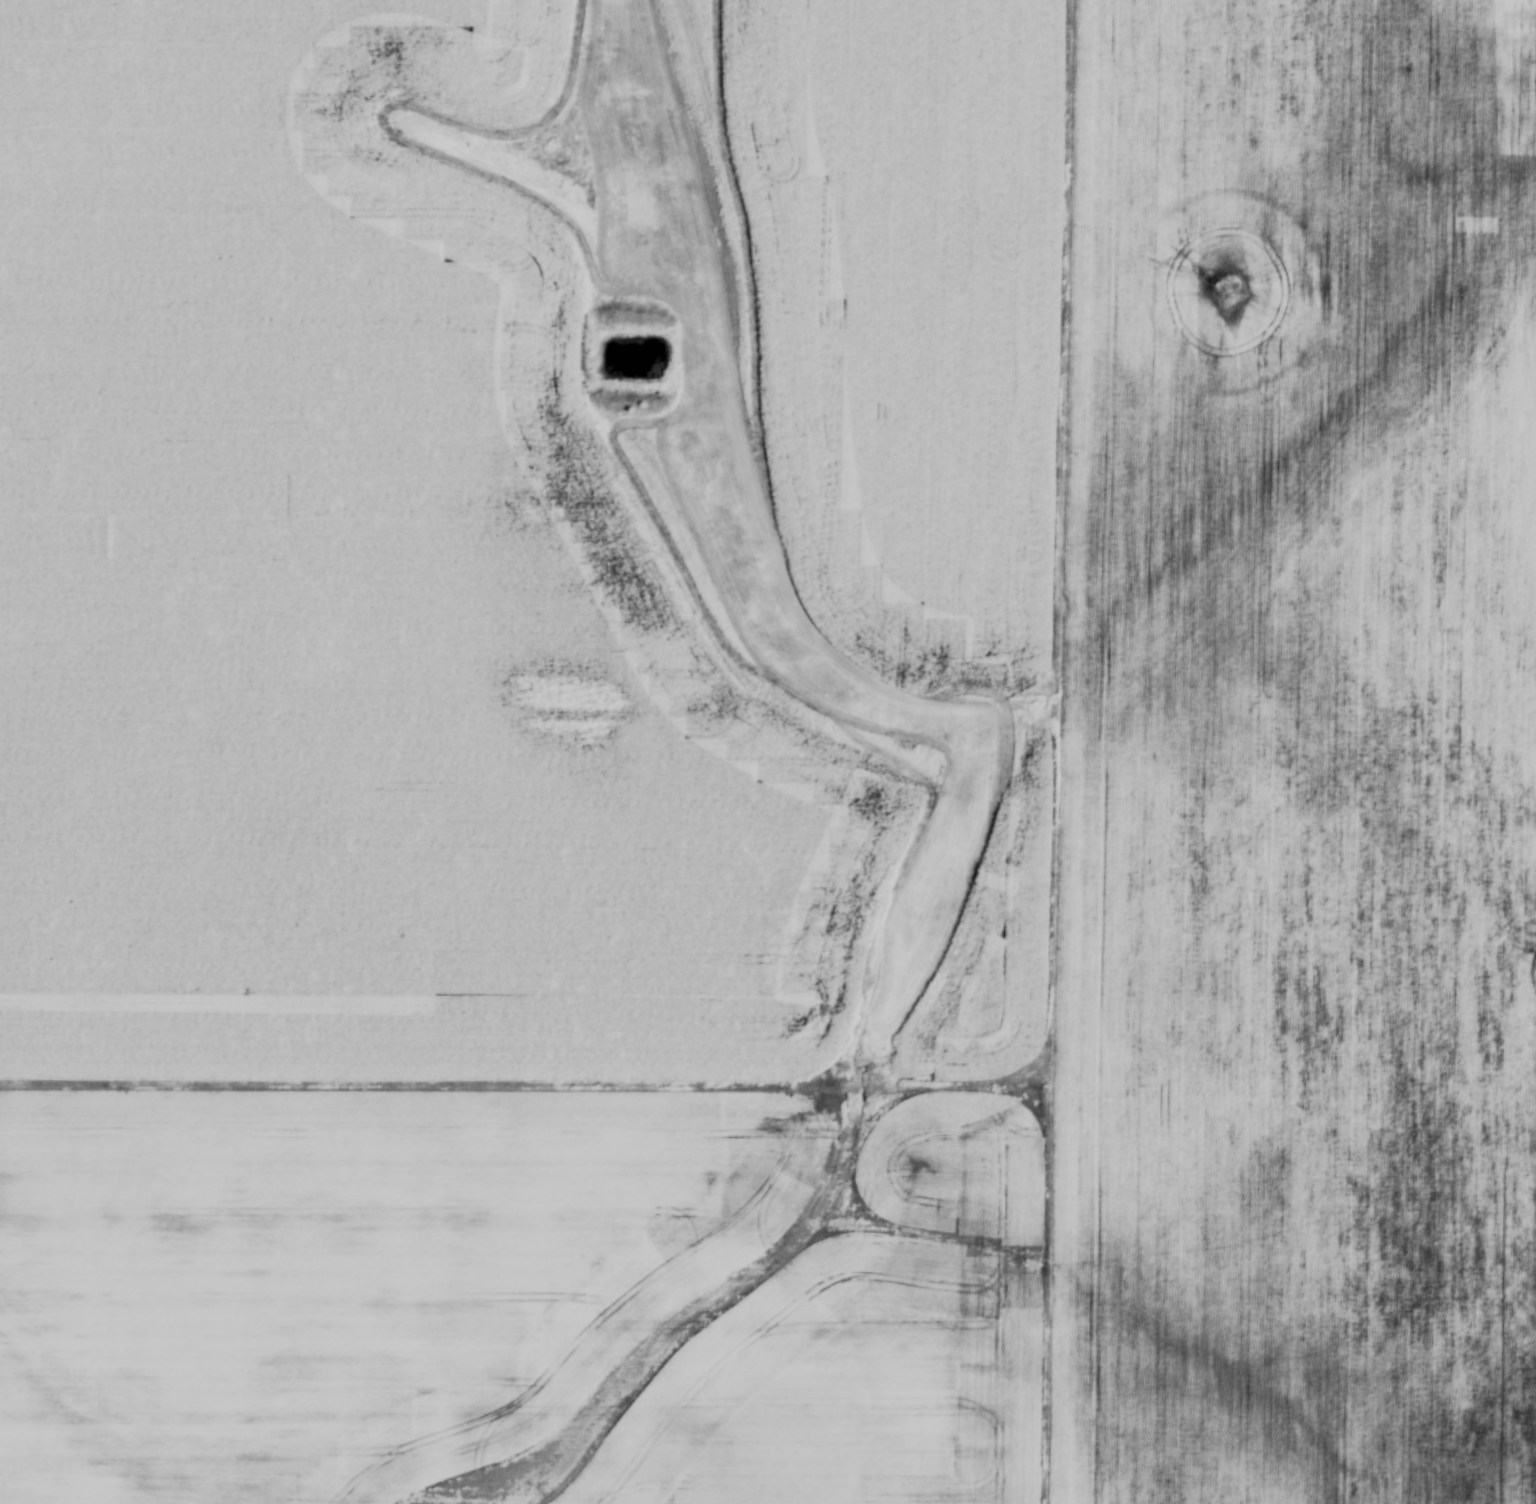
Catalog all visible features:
power tower: (1231, 293)

